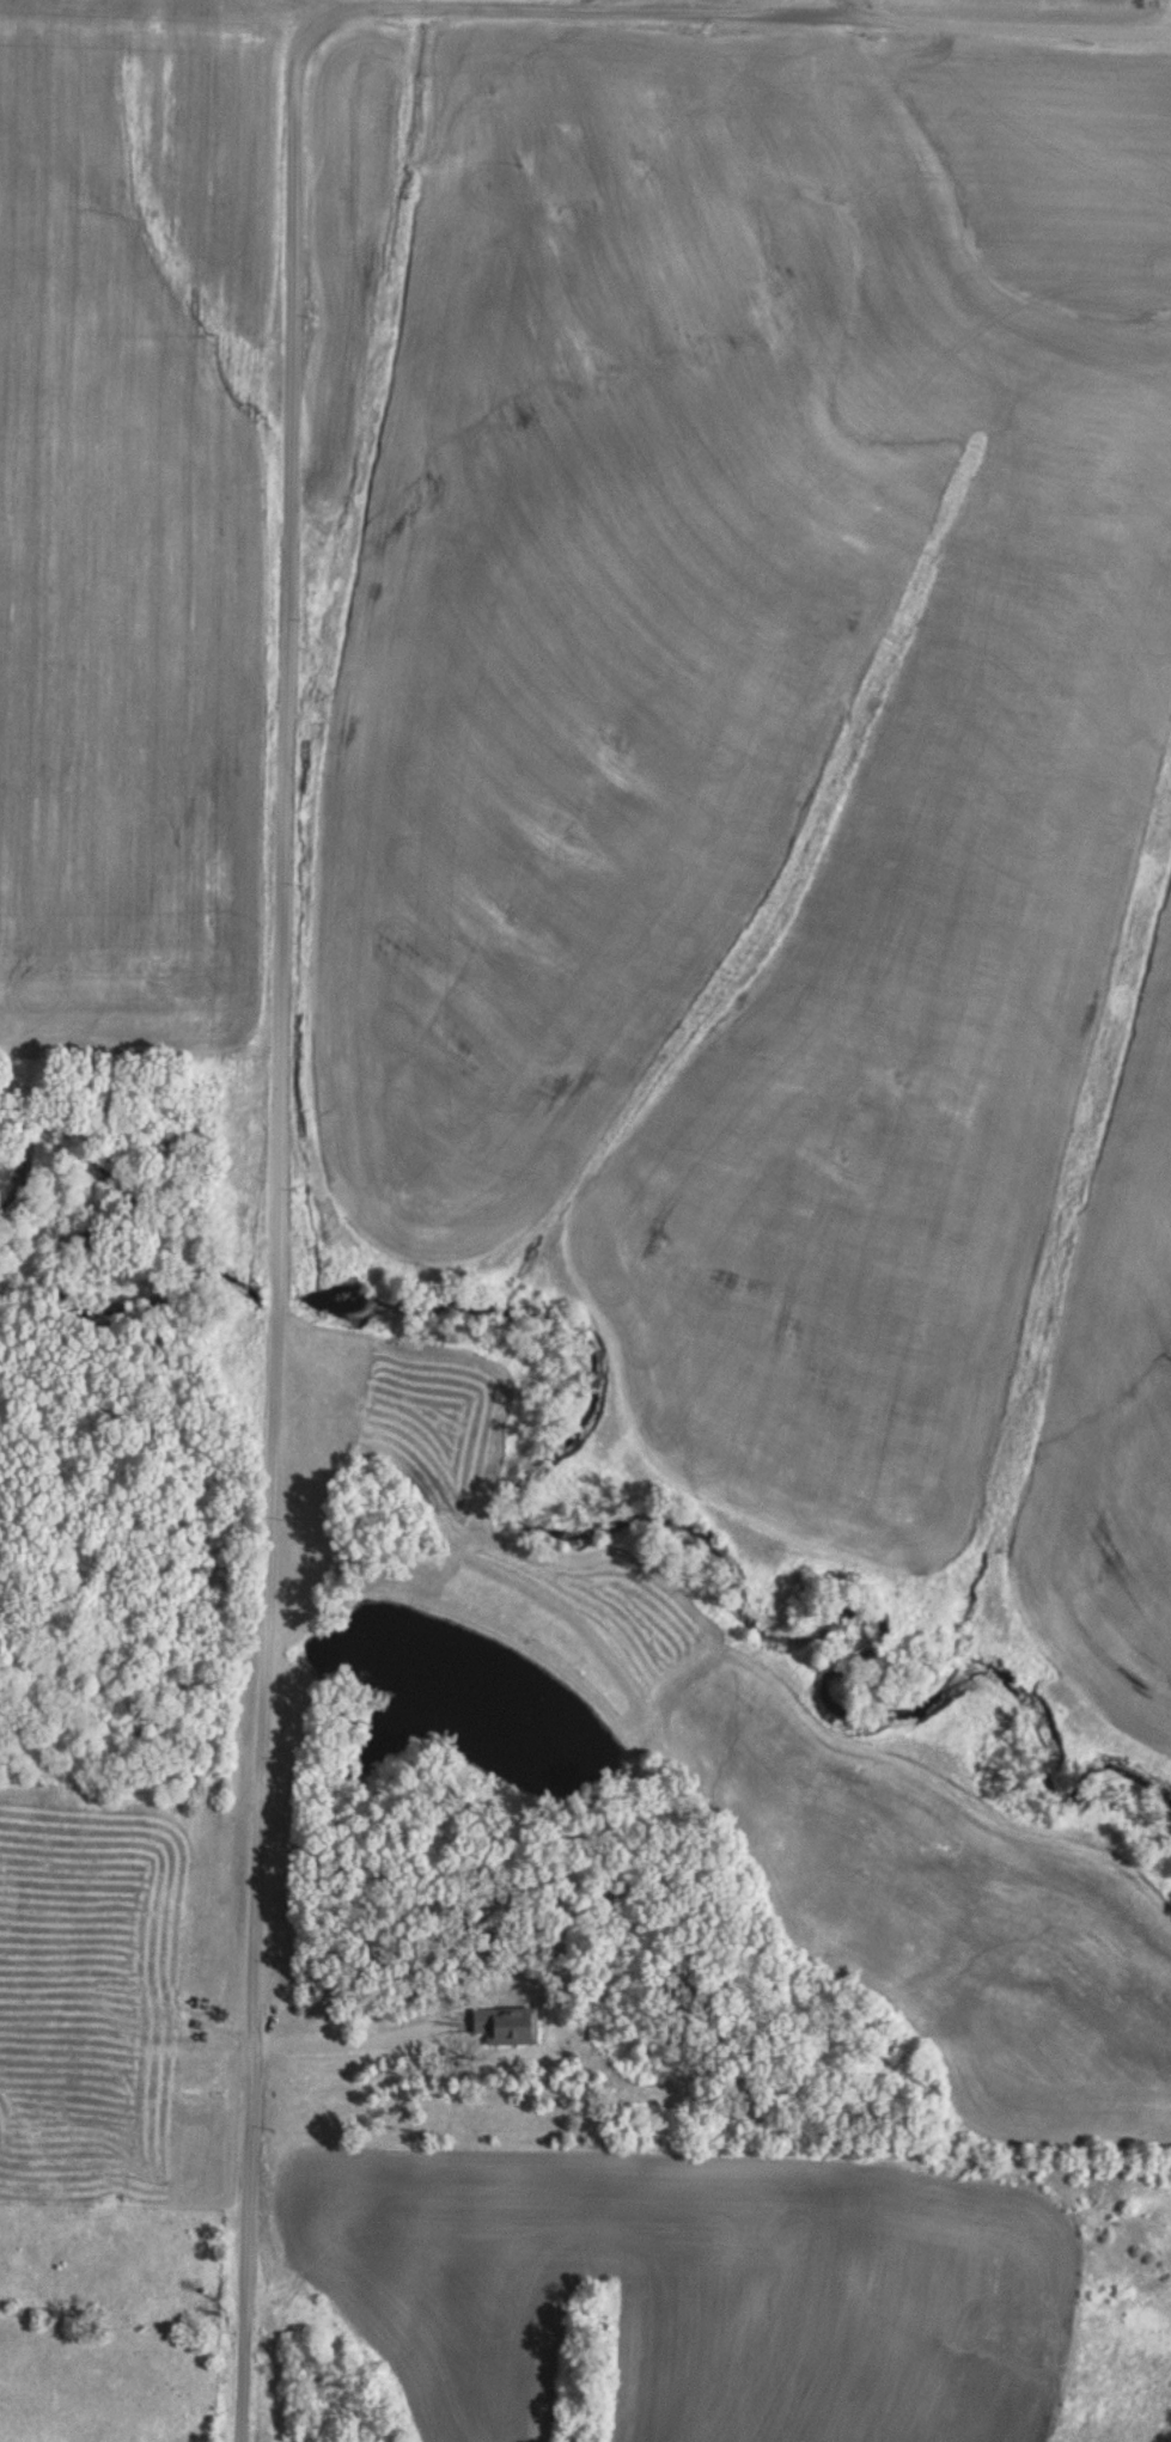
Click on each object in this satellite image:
road: (696, 7)
road: (908, 22)
road: (275, 1055)
building: (106, 1954)
building: (507, 2025)

